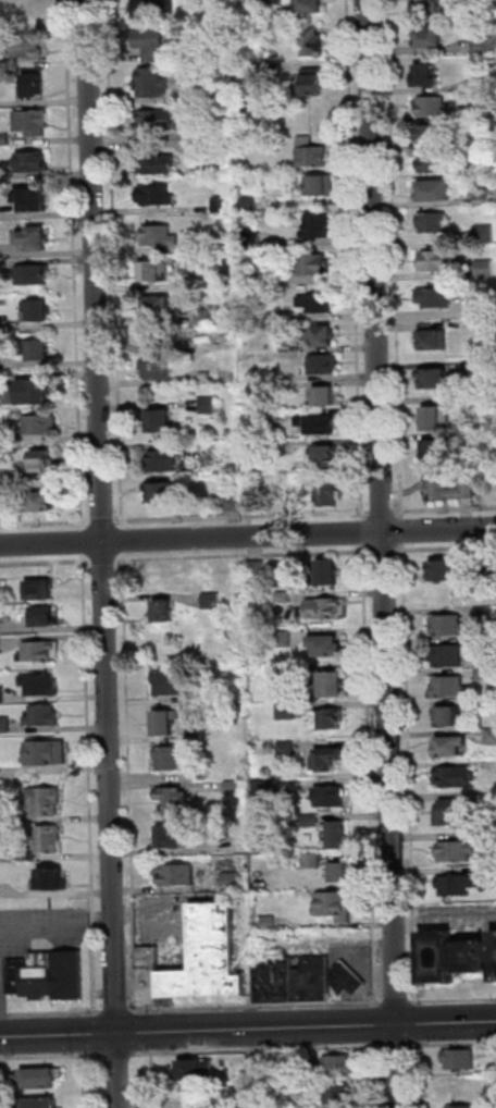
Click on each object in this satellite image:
building: (253, 3)
building: (312, 7)
building: (430, 7)
building: (151, 9)
building: (479, 11)
building: (25, 13)
building: (431, 39)
building: (313, 42)
building: (483, 45)
building: (153, 46)
building: (28, 48)
building: (430, 76)
building: (315, 81)
building: (153, 84)
building: (483, 85)
building: (35, 86)
building: (216, 90)
building: (435, 106)
building: (478, 114)
building: (33, 122)
building: (158, 122)
building: (432, 135)
building: (4, 140)
building: (480, 143)
building: (198, 150)
building: (312, 153)
building: (435, 162)
building: (34, 163)
building: (161, 165)
building: (479, 170)
building: (323, 187)
building: (436, 192)
building: (158, 195)
building: (484, 196)
building: (35, 201)
building: (250, 205)
building: (223, 206)
building: (435, 222)
building: (319, 227)
building: (486, 232)
building: (160, 236)
building: (35, 241)
building: (253, 242)
road: (357, 260)
road: (396, 260)
building: (436, 261)
building: (313, 263)
road: (76, 264)
road: (116, 264)
building: (486, 269)
building: (156, 273)
building: (259, 274)
building: (33, 275)
building: (208, 281)
building: (436, 298)
building: (320, 304)
building: (159, 307)
building: (37, 311)
building: (206, 317)
building: (286, 317)
building: (322, 337)
building: (435, 341)
building: (483, 348)
building: (38, 350)
building: (323, 366)
building: (483, 367)
building: (159, 370)
building: (211, 377)
building: (275, 377)
building: (436, 381)
building: (258, 391)
building: (32, 393)
building: (326, 397)
building: (489, 404)
building: (211, 405)
building: (437, 420)
building: (160, 424)
building: (319, 426)
building: (38, 427)
building: (280, 448)
building: (435, 451)
building: (325, 459)
building: (165, 461)
building: (41, 465)
building: (234, 470)
building: (448, 488)
building: (325, 493)
building: (164, 495)
building: (250, 502)
building: (234, 504)
building: (42, 507)
road: (445, 508)
road: (367, 514)
road: (382, 514)
road: (239, 516)
road: (103, 521)
road: (46, 522)
road: (404, 531)
road: (364, 532)
road: (247, 537)
road: (84, 541)
road: (124, 541)
road: (444, 549)
road: (382, 551)
road: (102, 554)
road: (383, 554)
road: (243, 555)
road: (103, 561)
road: (45, 562)
building: (491, 567)
building: (256, 569)
building: (445, 570)
building: (327, 571)
building: (39, 588)
building: (282, 596)
building: (211, 601)
building: (323, 608)
building: (163, 610)
building: (484, 613)
building: (42, 616)
building: (449, 626)
building: (283, 639)
building: (483, 643)
building: (326, 644)
building: (40, 652)
building: (448, 656)
building: (285, 673)
building: (484, 674)
building: (166, 682)
building: (332, 685)
building: (40, 686)
building: (450, 688)
building: (1, 697)
building: (198, 699)
building: (485, 702)
building: (286, 712)
building: (448, 715)
building: (44, 716)
building: (325, 718)
building: (164, 723)
building: (4, 725)
road: (88, 731)
building: (492, 736)
building: (196, 737)
building: (451, 743)
building: (286, 748)
building: (46, 752)
building: (170, 758)
building: (326, 758)
building: (200, 774)
road: (370, 774)
road: (409, 774)
building: (455, 776)
road: (128, 781)
building: (233, 788)
building: (263, 793)
building: (330, 797)
building: (42, 800)
building: (173, 800)
building: (454, 810)
building: (309, 820)
building: (337, 836)
building: (491, 837)
building: (170, 838)
building: (48, 839)
building: (457, 851)
building: (26, 858)
building: (311, 861)
building: (339, 872)
building: (491, 874)
building: (175, 875)
building: (51, 878)
building: (231, 882)
building: (457, 885)
building: (336, 903)
road: (169, 913)
road: (94, 920)
road: (100, 922)
road: (44, 924)
building: (269, 924)
parking lot: (39, 934)
building: (495, 935)
building: (456, 957)
building: (197, 960)
road: (95, 971)
road: (369, 975)
road: (0, 976)
building: (48, 976)
building: (346, 978)
building: (294, 981)
road: (452, 1000)
road: (396, 1002)
road: (256, 1006)
road: (2, 1011)
road: (115, 1012)
road: (54, 1013)
road: (417, 1014)
road: (3, 1015)
road: (376, 1024)
road: (248, 1029)
road: (390, 1047)
road: (259, 1050)
road: (116, 1055)
road: (50, 1057)
building: (460, 1058)
building: (338, 1064)
building: (195, 1068)
building: (257, 1068)
road: (379, 1074)
building: (37, 1079)
road: (152, 1081)
road: (84, 1082)
building: (460, 1086)
building: (493, 1094)
building: (339, 1095)
building: (39, 1103)
building: (461, 1106)

